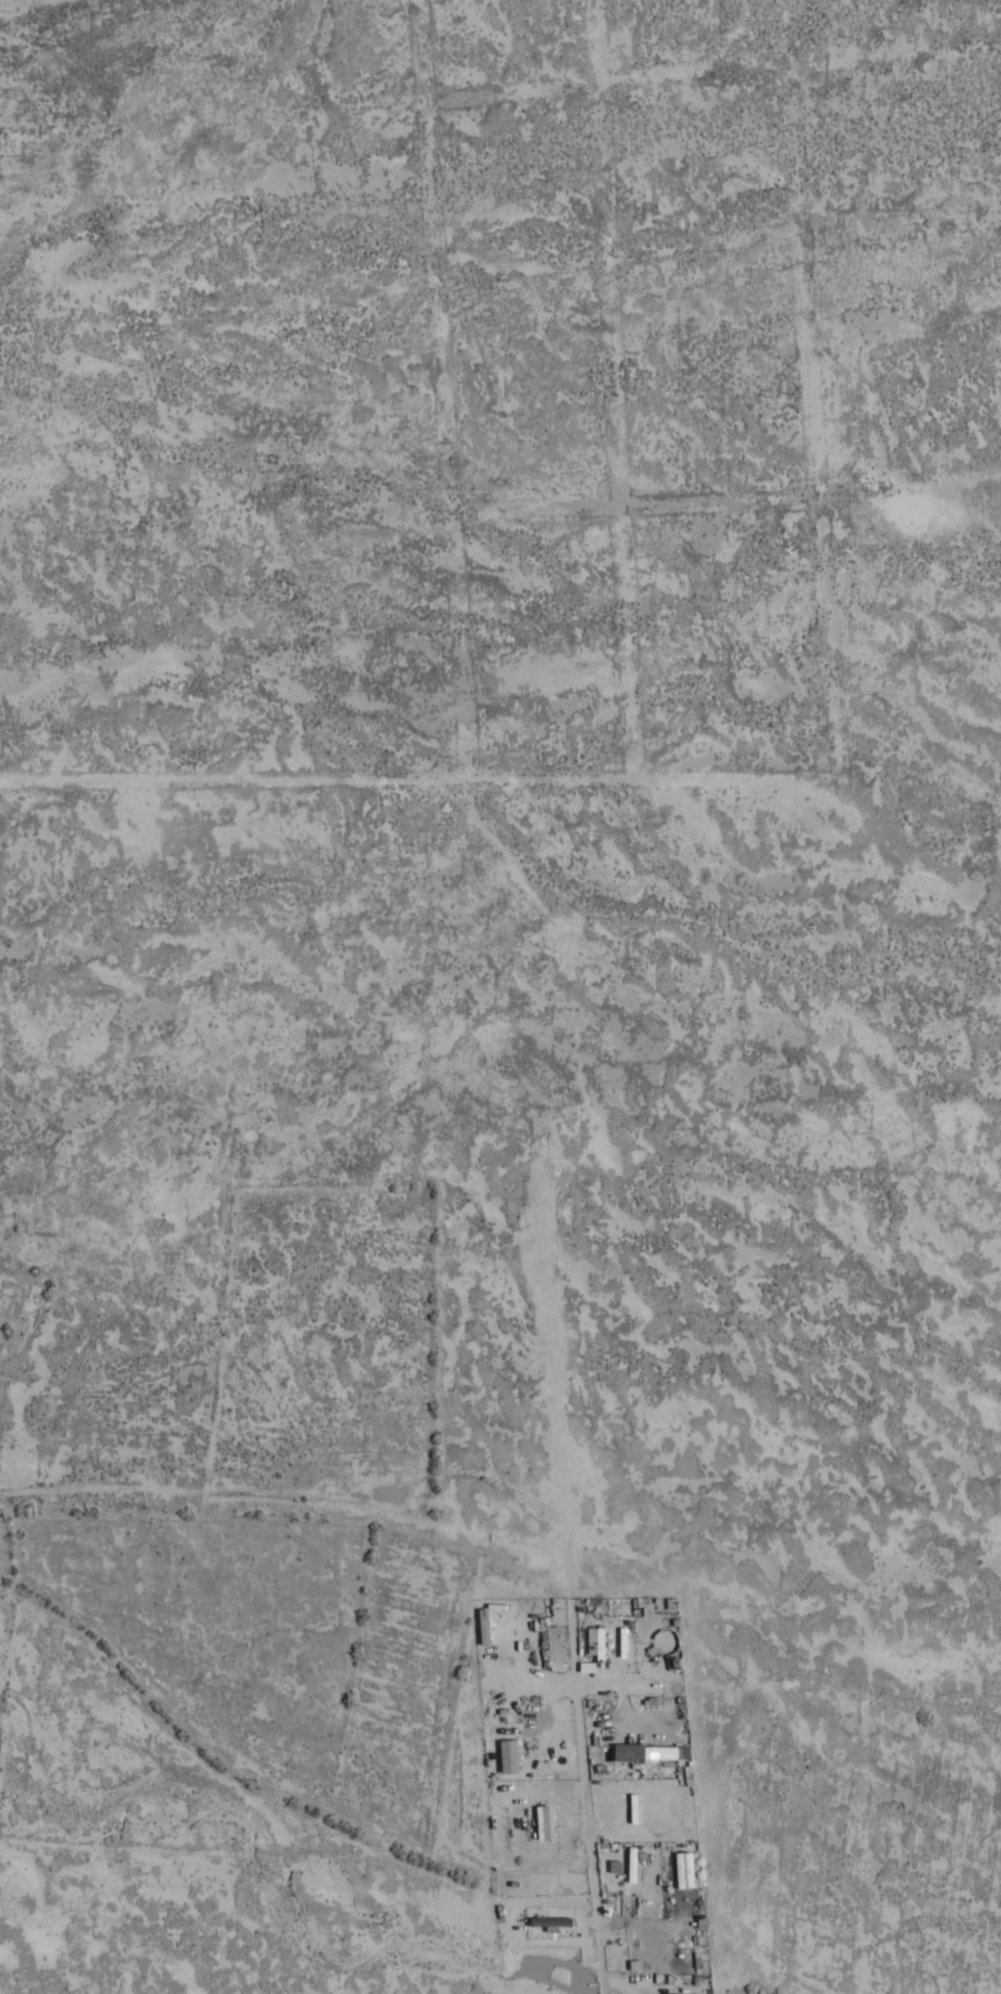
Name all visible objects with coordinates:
building: (653, 1753)
building: (510, 1757)
road: (588, 1818)
building: (543, 1823)
building: (684, 1871)
building: (552, 1922)

